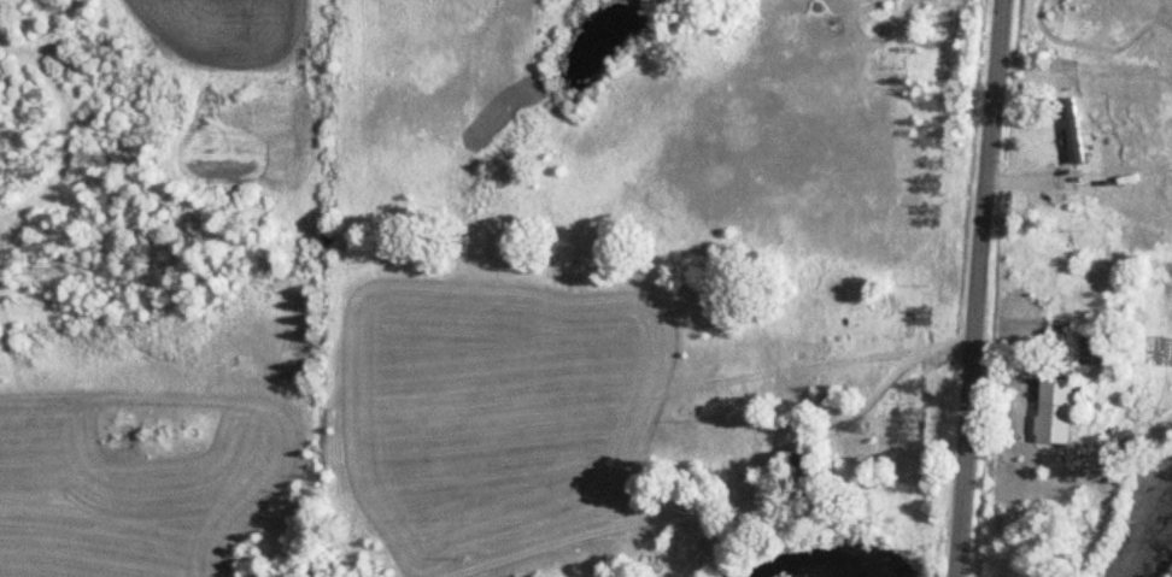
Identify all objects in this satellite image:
building: (1070, 131)
road: (977, 288)
building: (1090, 347)
building: (1051, 410)

